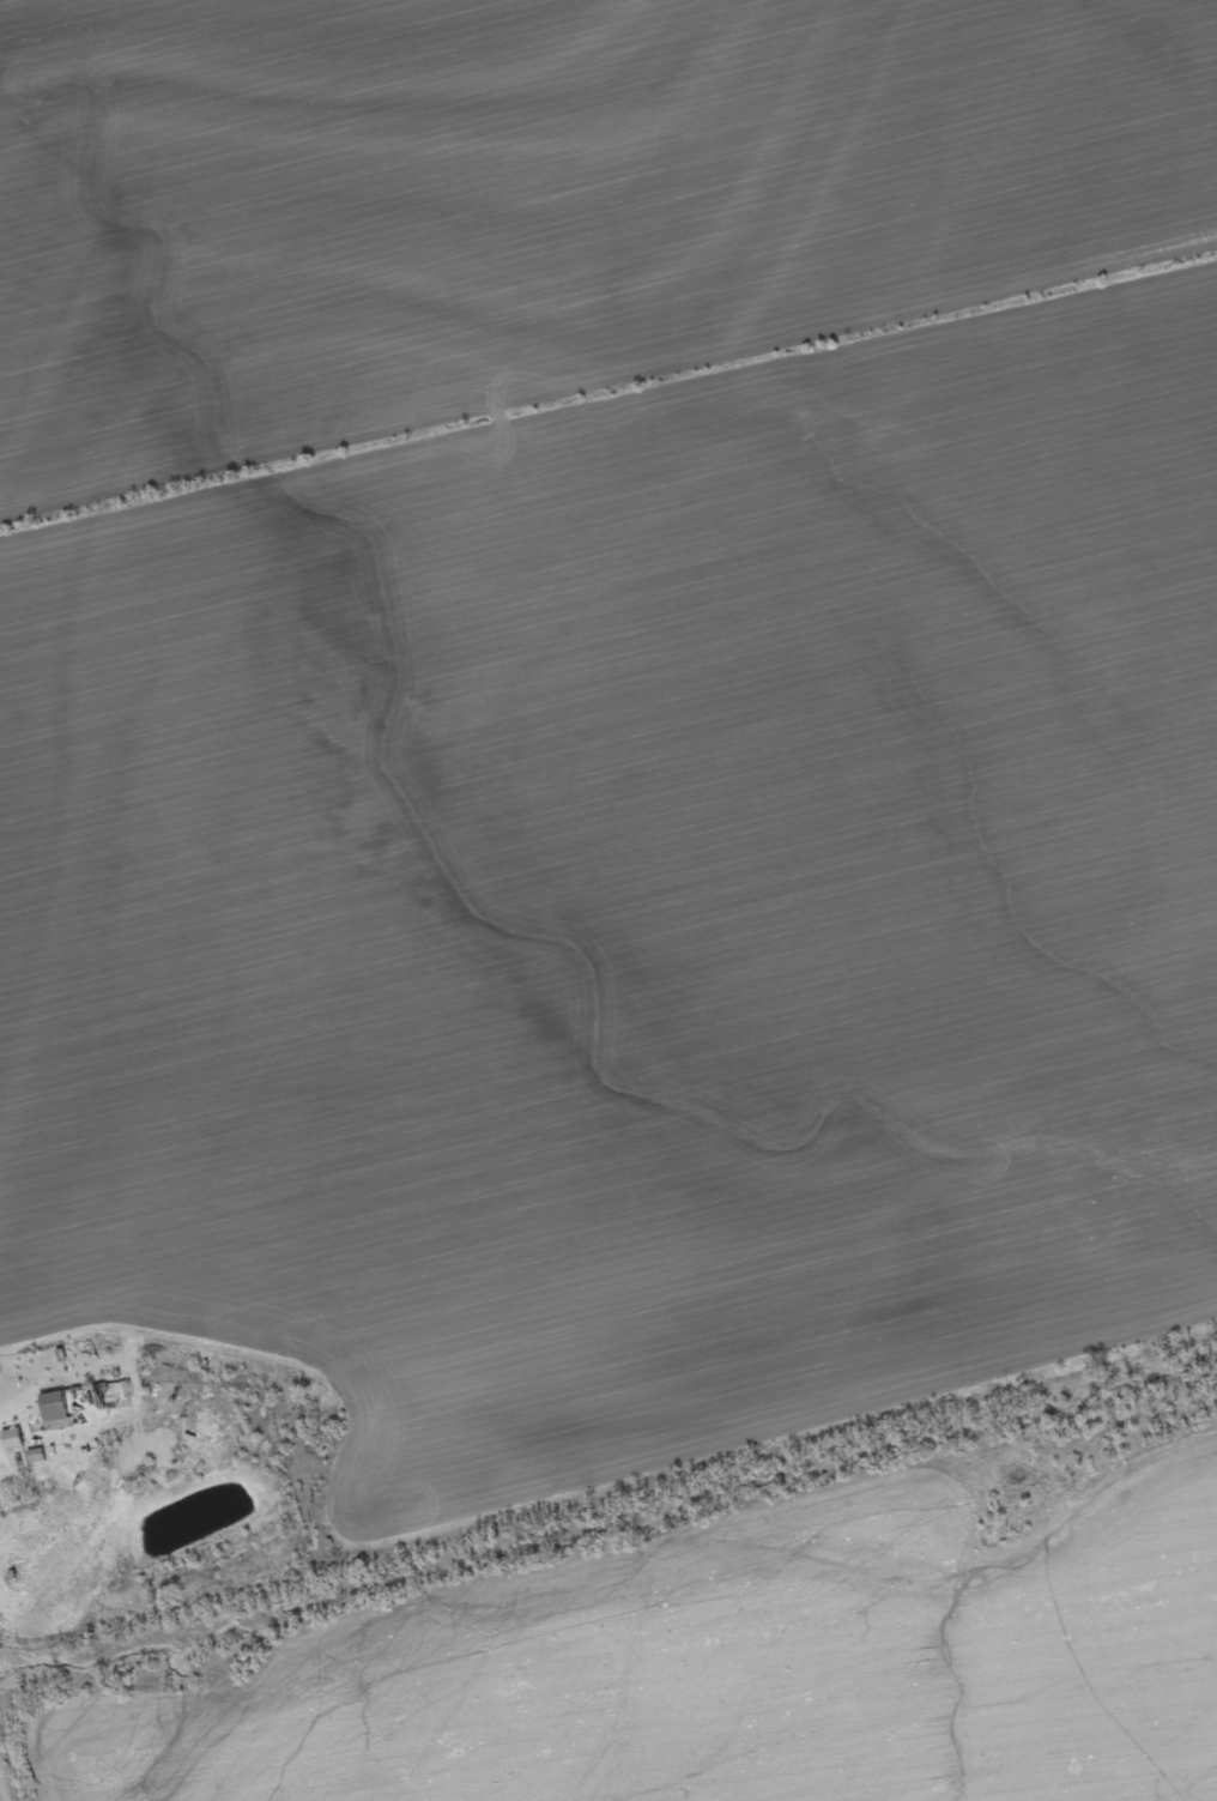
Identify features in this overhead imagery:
building: (52, 1414)
building: (11, 1446)
road: (1, 1795)

